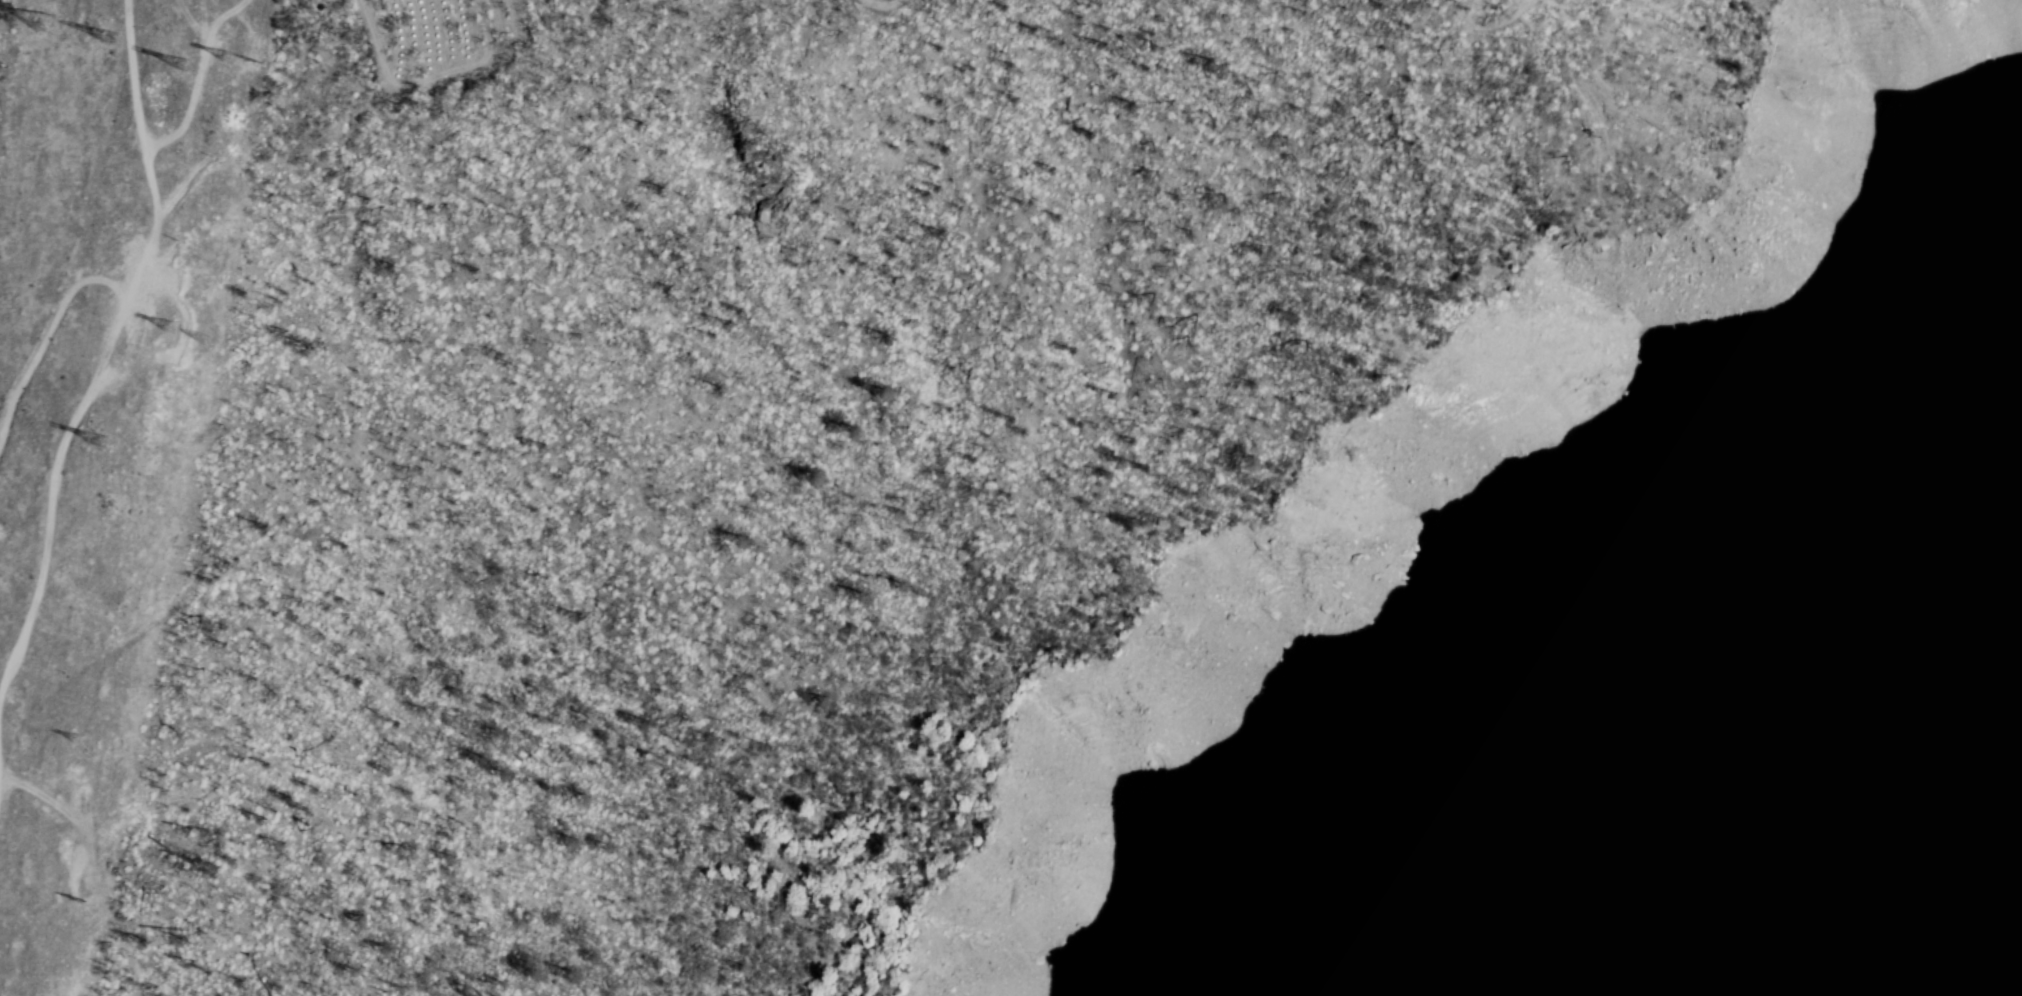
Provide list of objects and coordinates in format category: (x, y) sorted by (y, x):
road: (863, 2)
power tower: (45, 26)
power tower: (129, 42)
power tower: (200, 59)
power tower: (248, 59)
power tower: (185, 326)
road: (99, 329)
power tower: (223, 342)
power tower: (118, 431)
power tower: (10, 580)
power tower: (94, 741)
power tower: (96, 914)
power tower: (2, 957)
river: (2015, 982)

